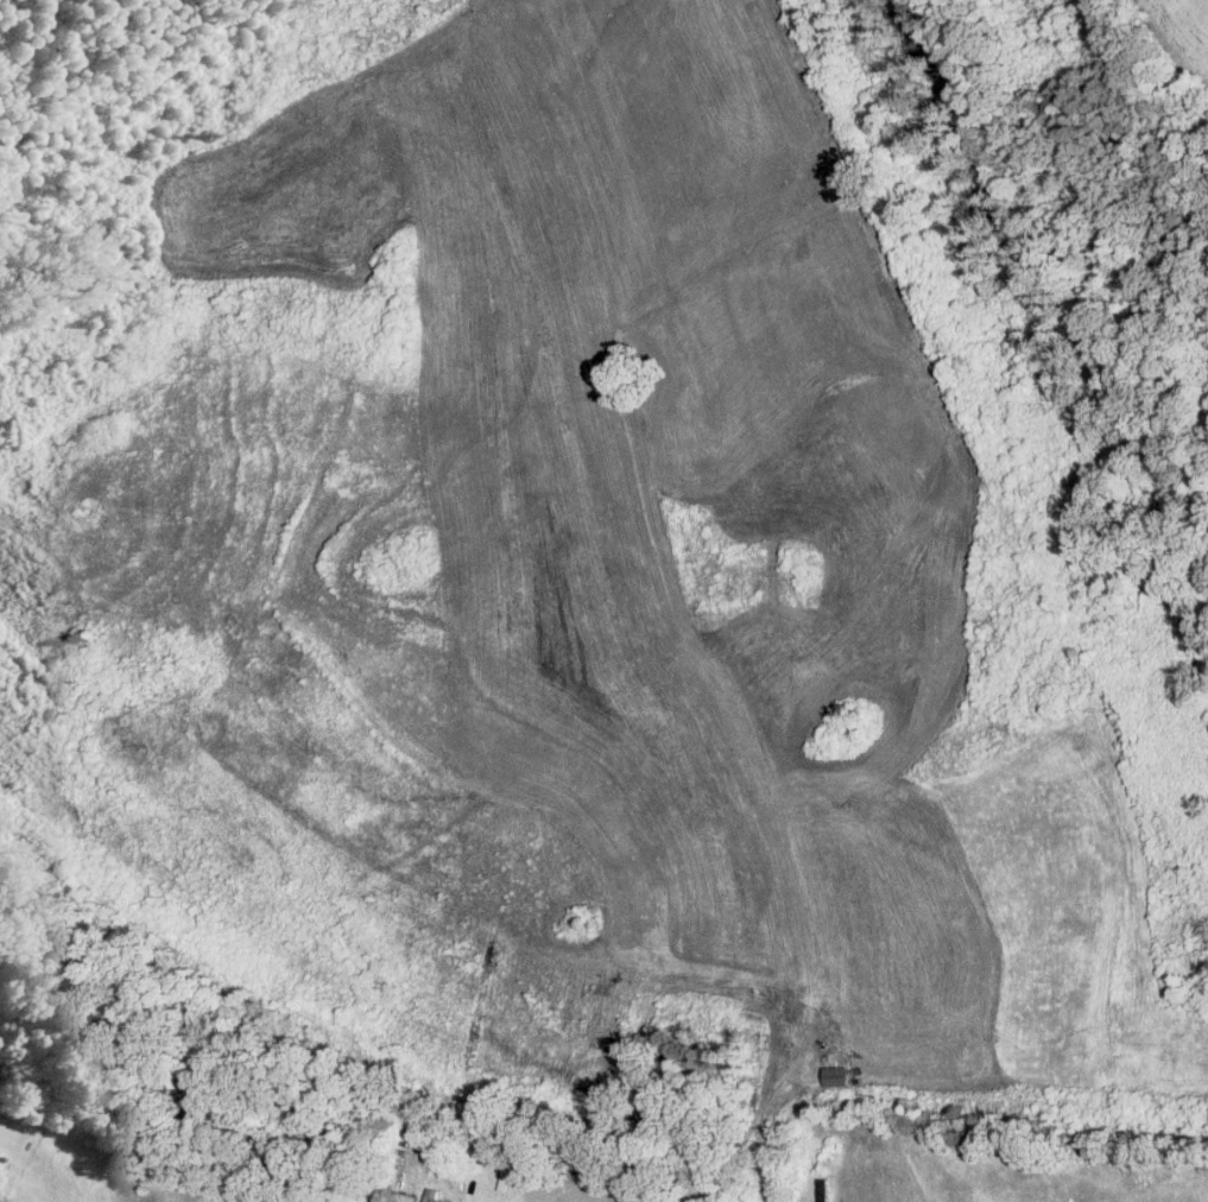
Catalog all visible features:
road: (765, 1141)
building: (435, 1200)

